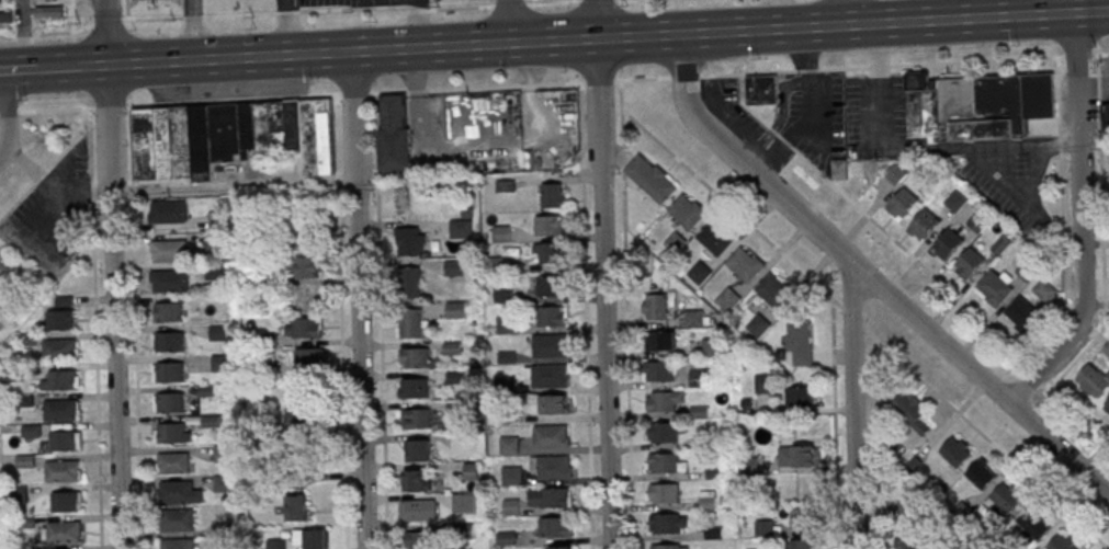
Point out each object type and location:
building: (4, 0)
road: (615, 0)
road: (626, 0)
parking lot: (328, 1)
road: (573, 1)
road: (596, 1)
road: (501, 5)
road: (415, 8)
road: (351, 9)
building: (48, 11)
road: (286, 12)
road: (841, 13)
road: (238, 14)
building: (5, 16)
road: (192, 18)
road: (152, 19)
road: (105, 22)
road: (506, 22)
road: (418, 23)
road: (287, 27)
road: (194, 30)
road: (60, 32)
road: (22, 34)
road: (5, 38)
road: (22, 38)
road: (600, 39)
road: (67, 68)
road: (22, 70)
street lamp: (505, 75)
road: (554, 82)
street lamp: (312, 83)
road: (878, 85)
road: (1093, 87)
building: (761, 90)
street lamp: (25, 99)
building: (976, 106)
road: (803, 110)
road: (5, 113)
building: (1106, 115)
road: (2, 129)
building: (394, 133)
building: (229, 136)
road: (477, 146)
road: (981, 150)
road: (49, 165)
building: (839, 169)
building: (895, 173)
building: (650, 178)
building: (506, 185)
road: (233, 186)
building: (552, 195)
building: (901, 204)
building: (408, 205)
parking lot: (24, 206)
building: (168, 211)
building: (687, 211)
road: (1080, 216)
building: (215, 221)
building: (977, 221)
building: (462, 225)
building: (923, 225)
building: (550, 226)
building: (501, 233)
building: (715, 237)
building: (409, 242)
building: (947, 243)
building: (170, 250)
building: (552, 253)
road: (915, 260)
building: (967, 263)
building: (745, 264)
building: (308, 266)
building: (454, 266)
building: (2, 268)
building: (699, 272)
building: (215, 273)
road: (113, 274)
road: (602, 274)
road: (869, 278)
building: (171, 281)
building: (411, 282)
building: (548, 286)
building: (994, 286)
building: (773, 289)
building: (1043, 290)
building: (503, 294)
building: (732, 296)
road: (358, 300)
building: (655, 307)
building: (455, 309)
building: (168, 312)
building: (1021, 312)
building: (552, 316)
building: (694, 318)
building: (59, 320)
building: (411, 323)
building: (757, 325)
road: (136, 328)
building: (304, 328)
building: (217, 331)
road: (94, 335)
building: (660, 341)
building: (171, 343)
building: (799, 343)
building: (550, 345)
building: (711, 347)
building: (59, 350)
building: (416, 357)
building: (308, 358)
building: (658, 371)
building: (169, 373)
building: (546, 376)
building: (700, 378)
building: (61, 380)
building: (1093, 380)
building: (763, 384)
building: (414, 387)
building: (799, 397)
building: (666, 401)
building: (170, 403)
building: (556, 404)
road: (851, 405)
building: (1106, 405)
building: (61, 410)
building: (910, 412)
building: (303, 419)
building: (418, 419)
building: (665, 432)
building: (171, 434)
building: (552, 436)
building: (65, 441)
building: (509, 445)
building: (419, 450)
building: (955, 451)
building: (223, 454)
building: (302, 455)
building: (799, 456)
building: (666, 462)
building: (172, 464)
building: (551, 467)
building: (63, 471)
building: (472, 471)
building: (981, 473)
building: (511, 474)
building: (418, 480)
building: (223, 483)
building: (177, 492)
building: (664, 493)
building: (1006, 497)
building: (550, 499)
building: (708, 500)
building: (66, 501)
building: (462, 503)
building: (295, 507)
building: (899, 508)
building: (421, 510)
building: (803, 518)
building: (178, 521)
building: (667, 523)
building: (1033, 524)
building: (555, 527)
building: (65, 531)
building: (308, 539)
building: (908, 539)
building: (419, 540)
building: (1063, 542)
building: (276, 544)
building: (804, 544)
building: (178, 545)
building: (669, 546)
building: (558, 547)

